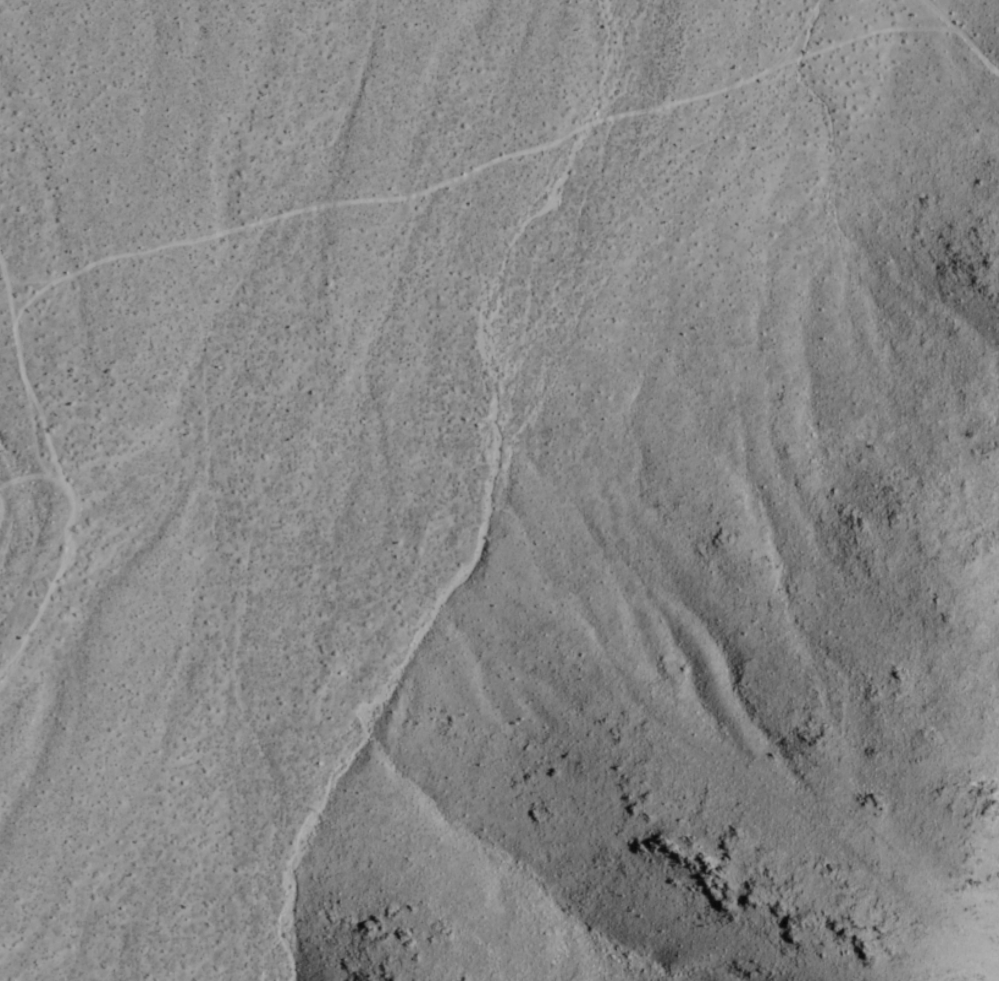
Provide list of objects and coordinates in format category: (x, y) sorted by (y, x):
road: (972, 21)

